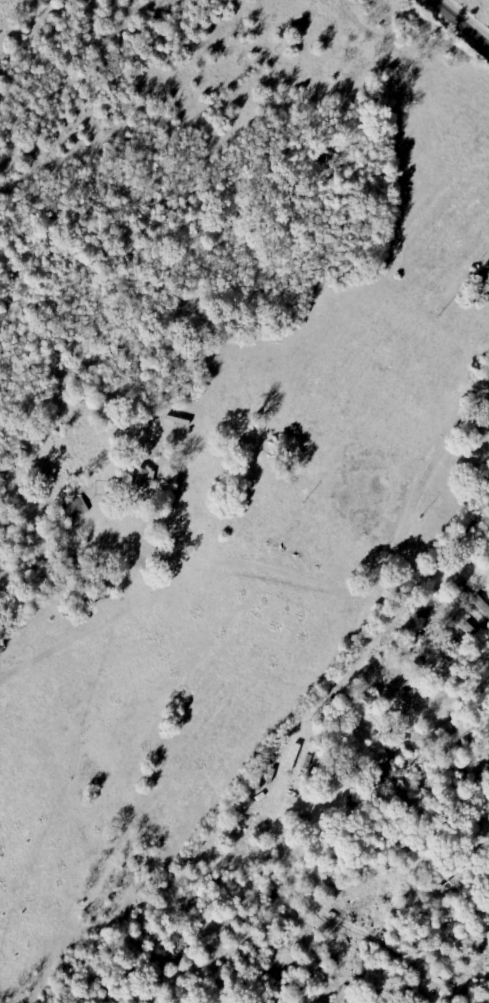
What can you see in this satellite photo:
road: (463, 17)
building: (144, 480)
building: (76, 509)
road: (352, 583)

